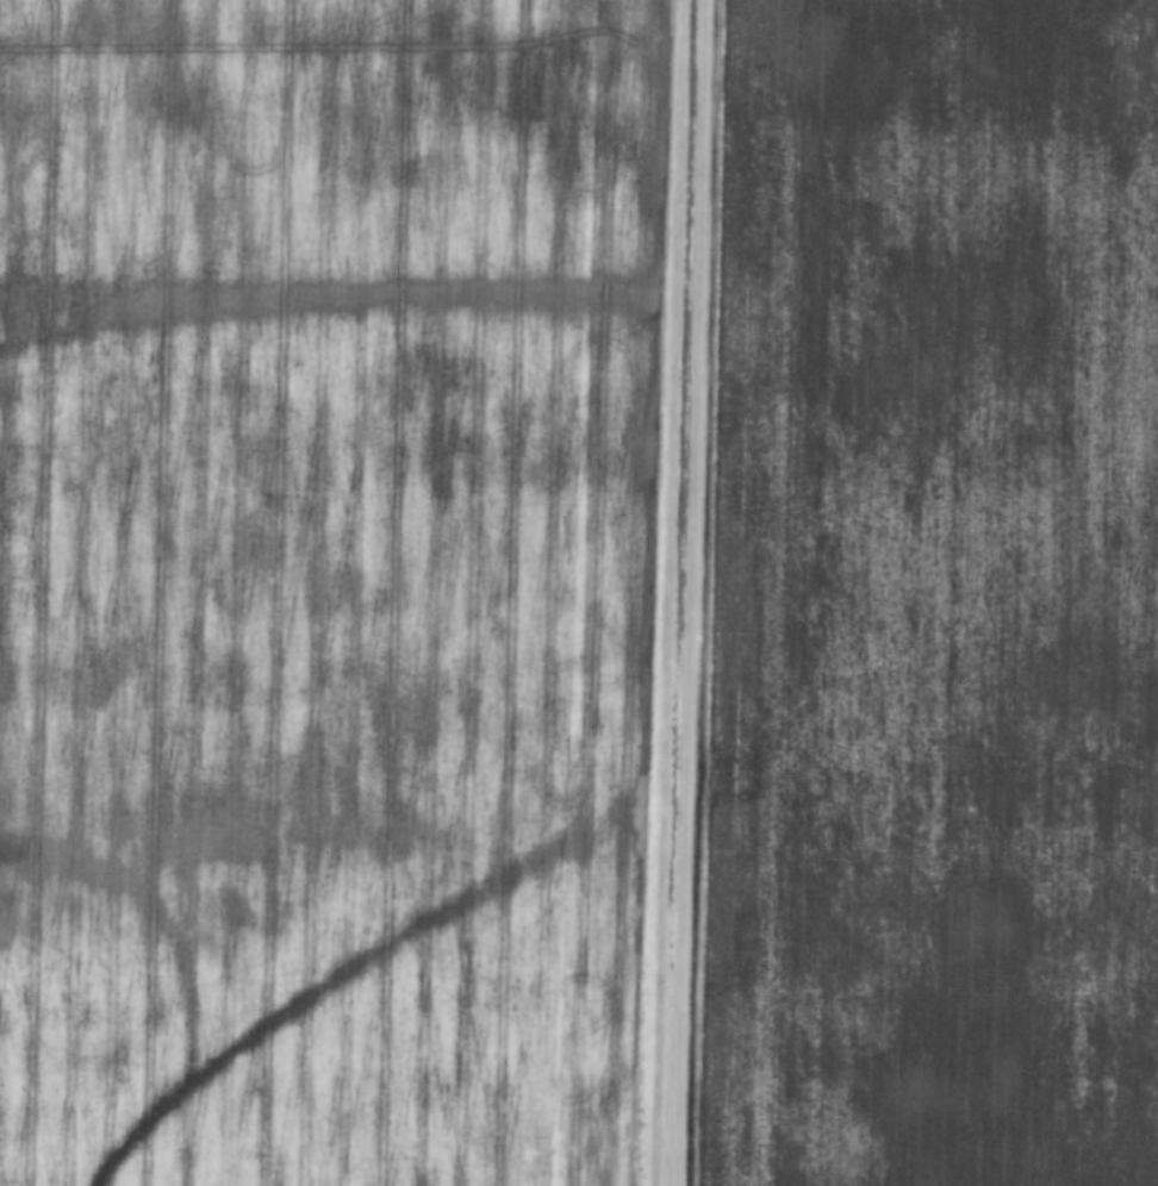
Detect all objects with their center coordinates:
crop: (322, 587)
road: (678, 593)
crop: (930, 598)

